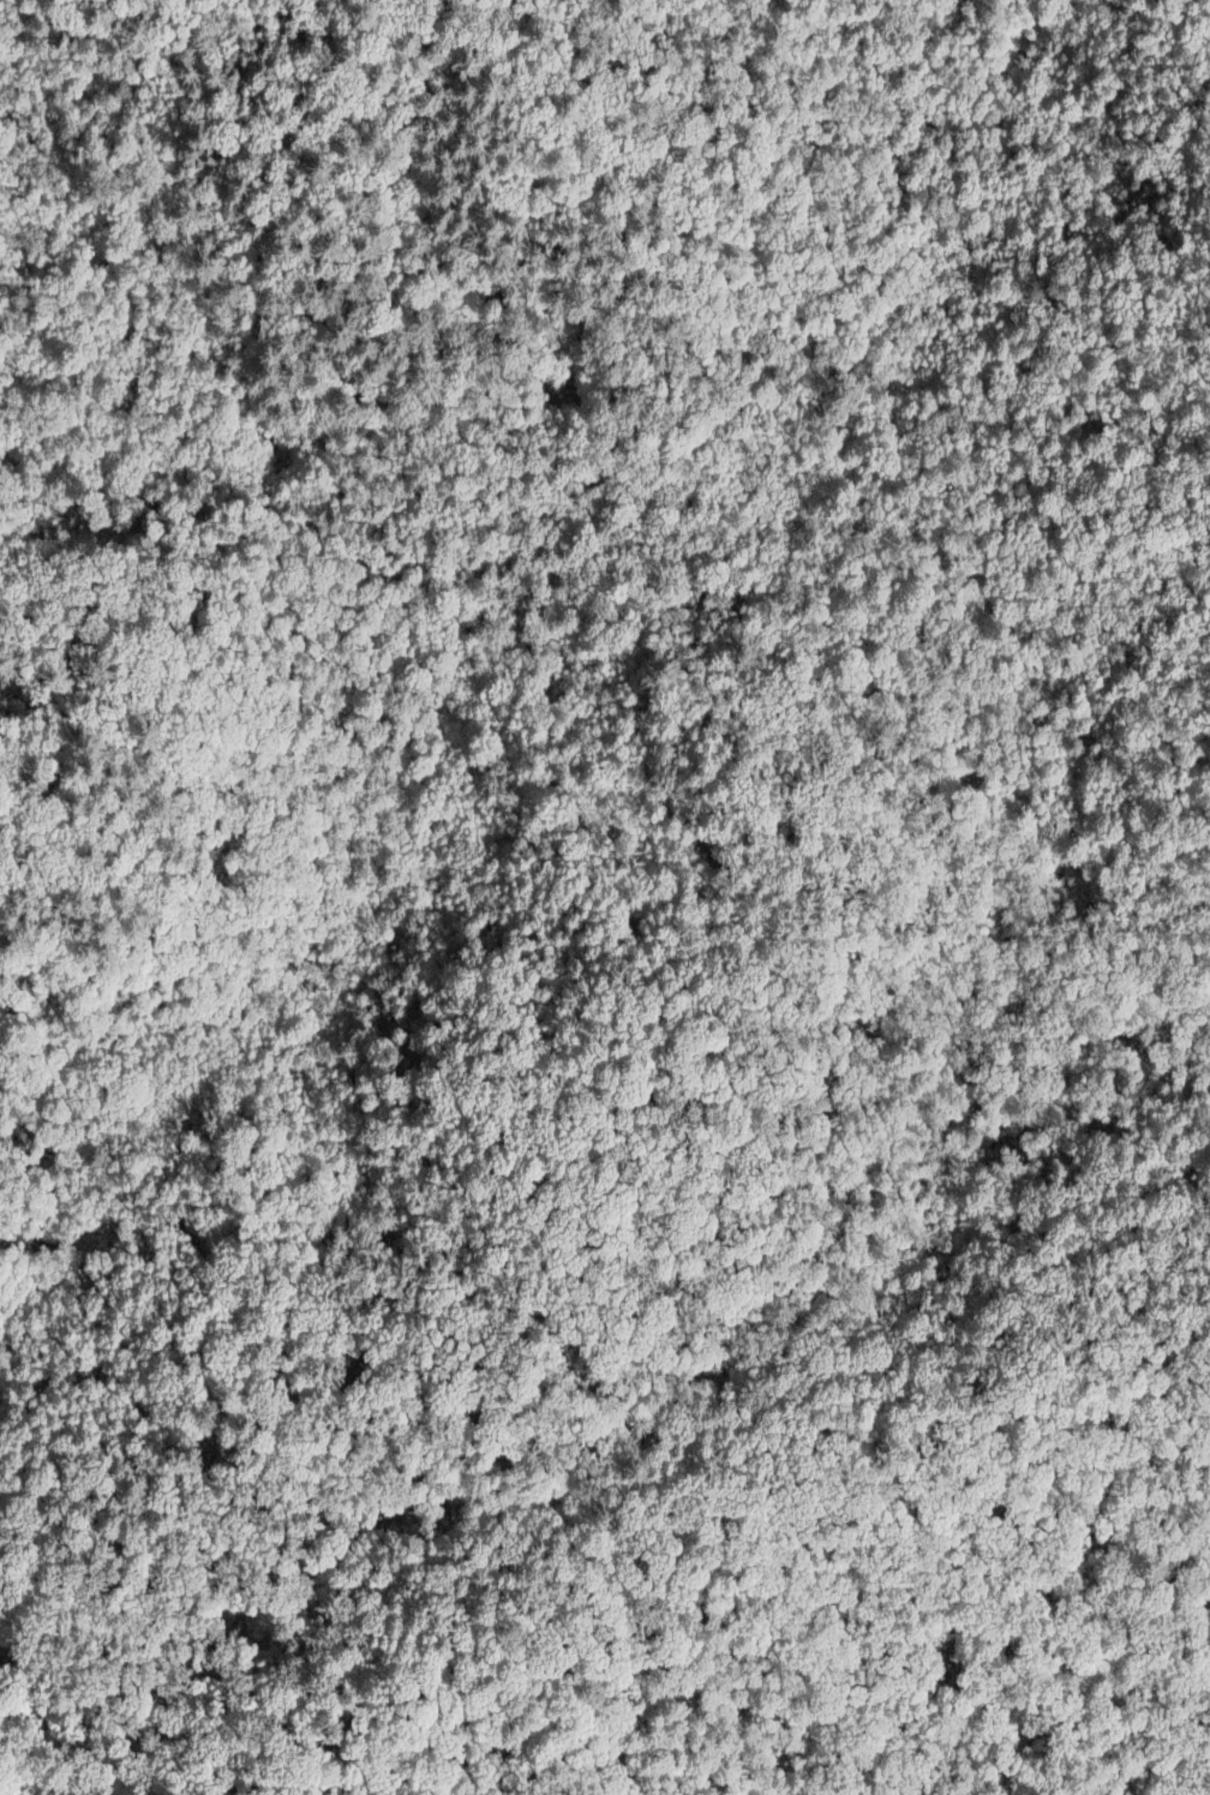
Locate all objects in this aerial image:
road: (571, 1540)
road: (1178, 1590)

